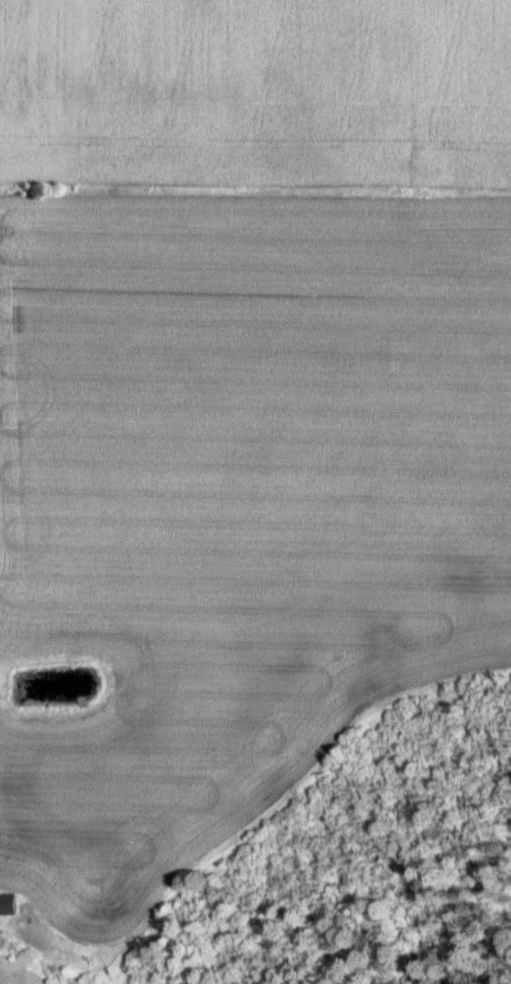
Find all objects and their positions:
building: (11, 904)

